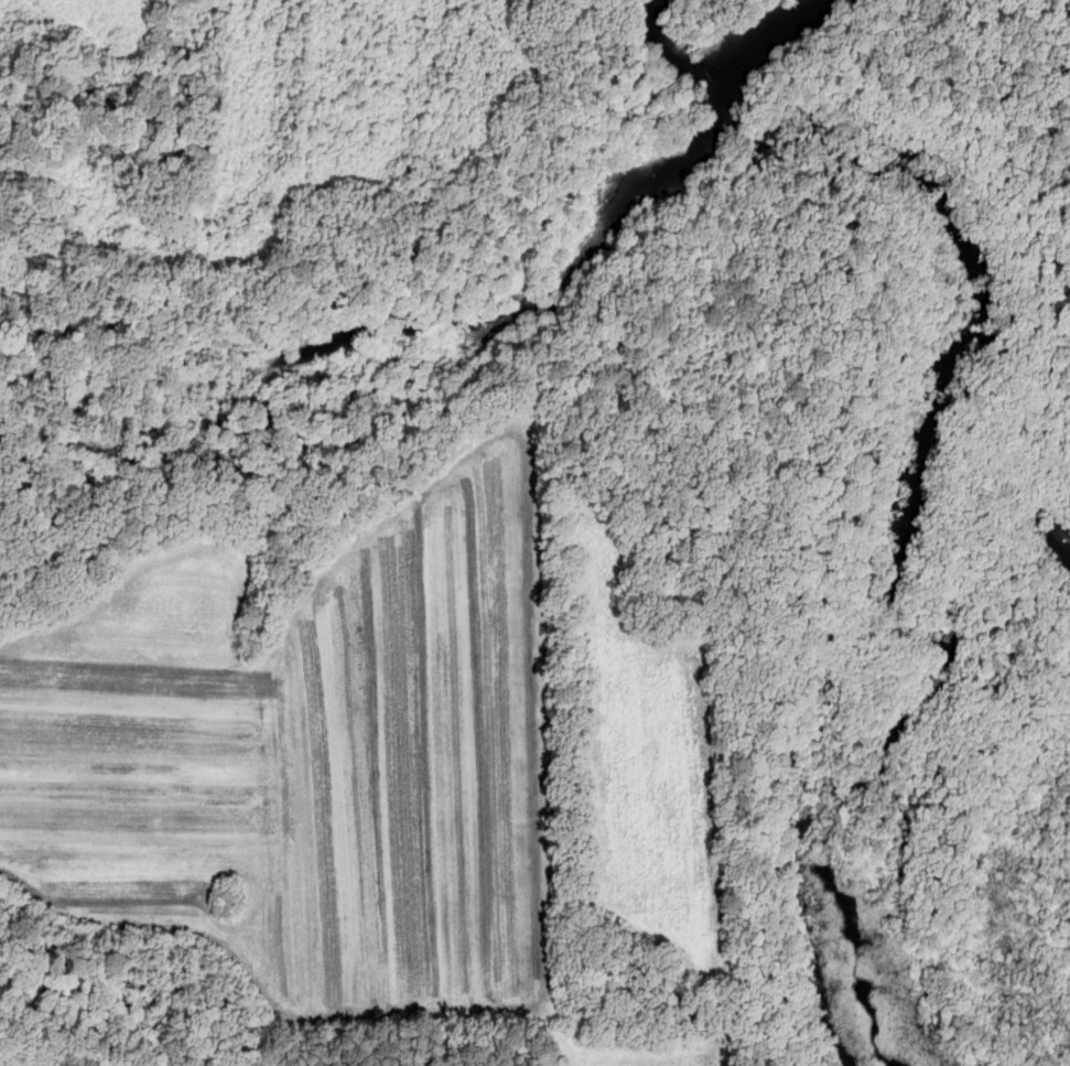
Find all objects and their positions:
road: (164, 1038)

